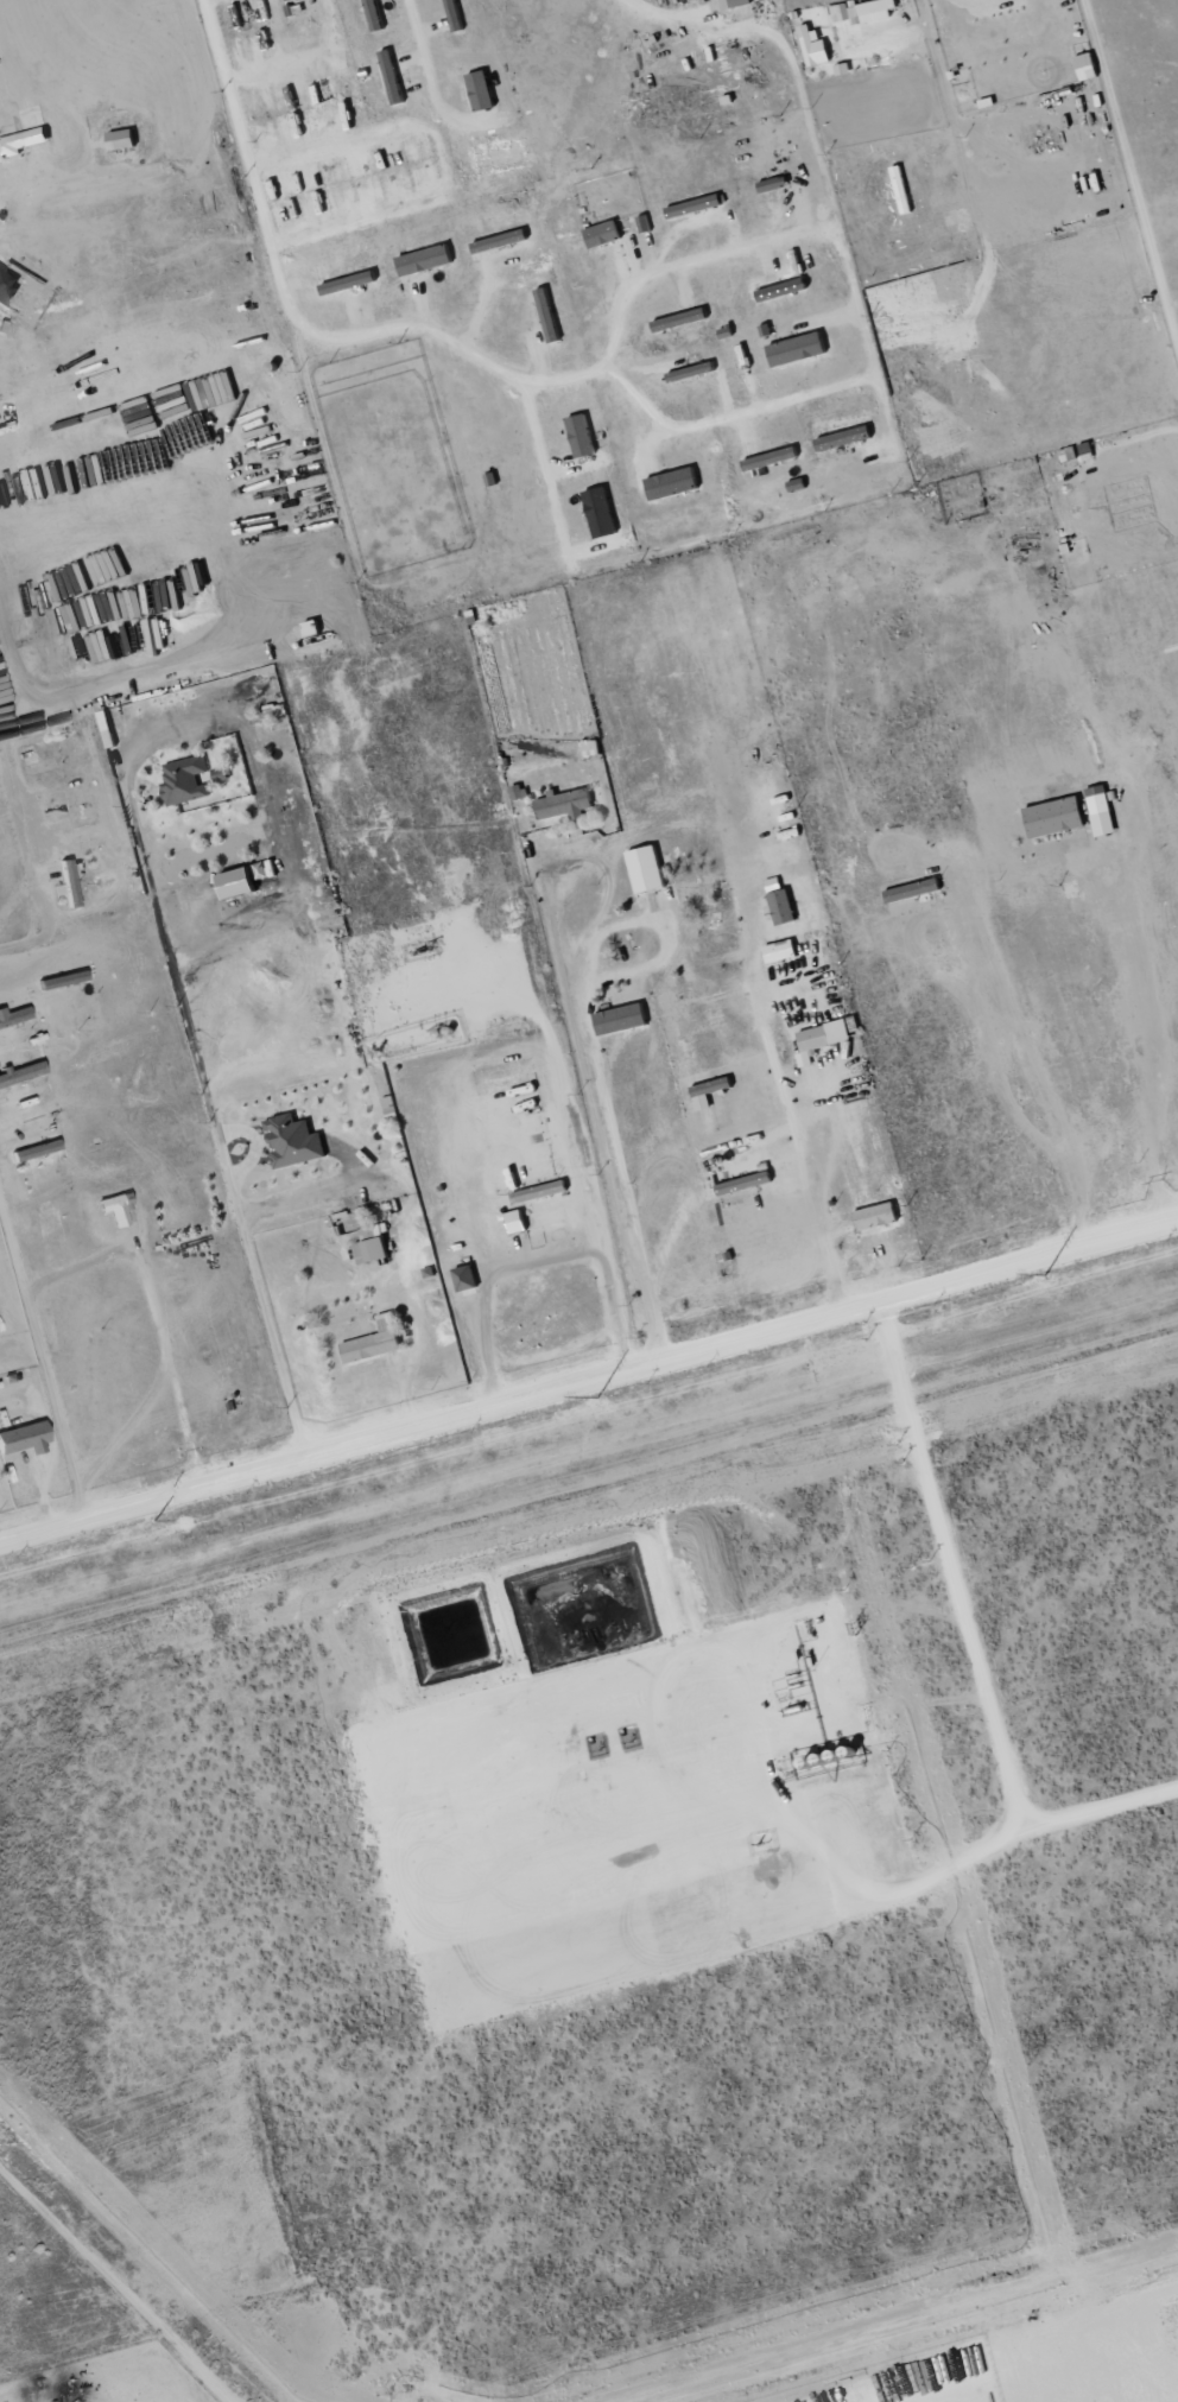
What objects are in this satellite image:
building: (737, 4)
building: (375, 15)
building: (812, 44)
building: (1089, 65)
building: (393, 77)
building: (483, 90)
building: (125, 139)
building: (23, 142)
building: (775, 183)
building: (606, 234)
building: (427, 260)
building: (8, 285)
building: (780, 285)
building: (683, 319)
building: (800, 349)
building: (583, 436)
building: (847, 438)
building: (773, 458)
building: (674, 483)
building: (602, 513)
building: (315, 627)
building: (593, 747)
building: (223, 773)
building: (184, 779)
building: (519, 791)
building: (566, 804)
building: (1102, 810)
building: (1057, 817)
building: (648, 869)
building: (245, 880)
building: (70, 882)
building: (914, 889)
building: (785, 906)
building: (783, 950)
road: (589, 999)
road: (533, 1001)
building: (13, 1014)
building: (622, 1019)
building: (821, 1038)
road: (199, 1064)
building: (21, 1072)
road: (589, 1088)
building: (294, 1141)
road: (519, 1148)
road: (799, 1149)
building: (747, 1183)
building: (541, 1191)
building: (115, 1209)
building: (878, 1216)
road: (412, 1218)
building: (519, 1222)
building: (373, 1246)
road: (545, 1256)
building: (468, 1278)
power tower: (1033, 1278)
building: (375, 1342)
road: (589, 1380)
power tower: (588, 1401)
building: (25, 1438)
power tower: (140, 1525)
road: (965, 1639)
road: (114, 2284)

